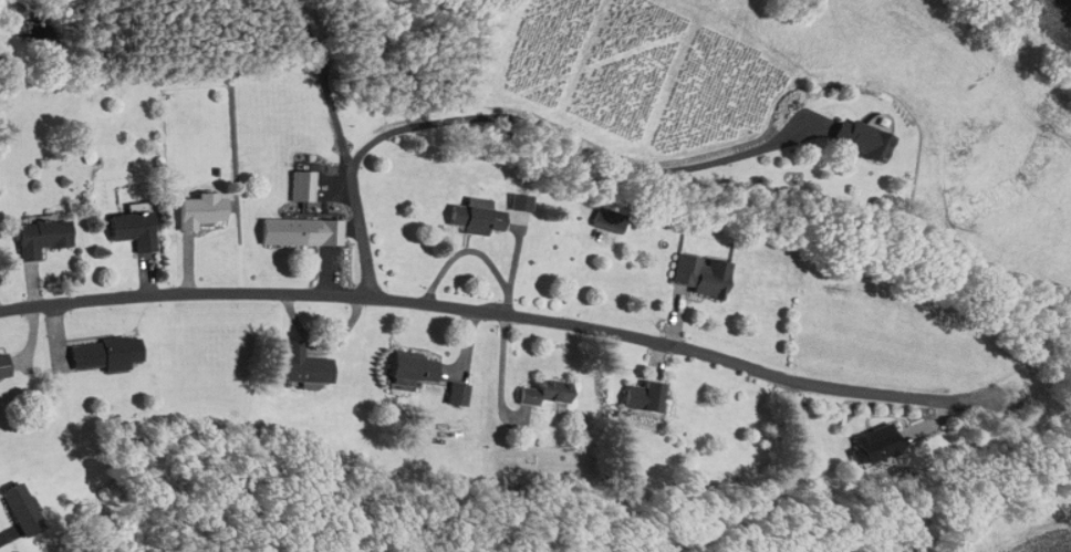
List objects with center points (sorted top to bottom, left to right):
building: (865, 135)
road: (351, 174)
building: (305, 185)
building: (523, 200)
building: (205, 210)
building: (614, 215)
building: (480, 216)
building: (602, 219)
building: (138, 226)
building: (291, 229)
building: (43, 236)
building: (704, 272)
road: (505, 312)
building: (108, 351)
building: (306, 364)
building: (4, 365)
building: (418, 367)
building: (459, 389)
building: (547, 389)
building: (449, 394)
building: (648, 394)
building: (880, 440)
building: (22, 507)
river: (1064, 549)

